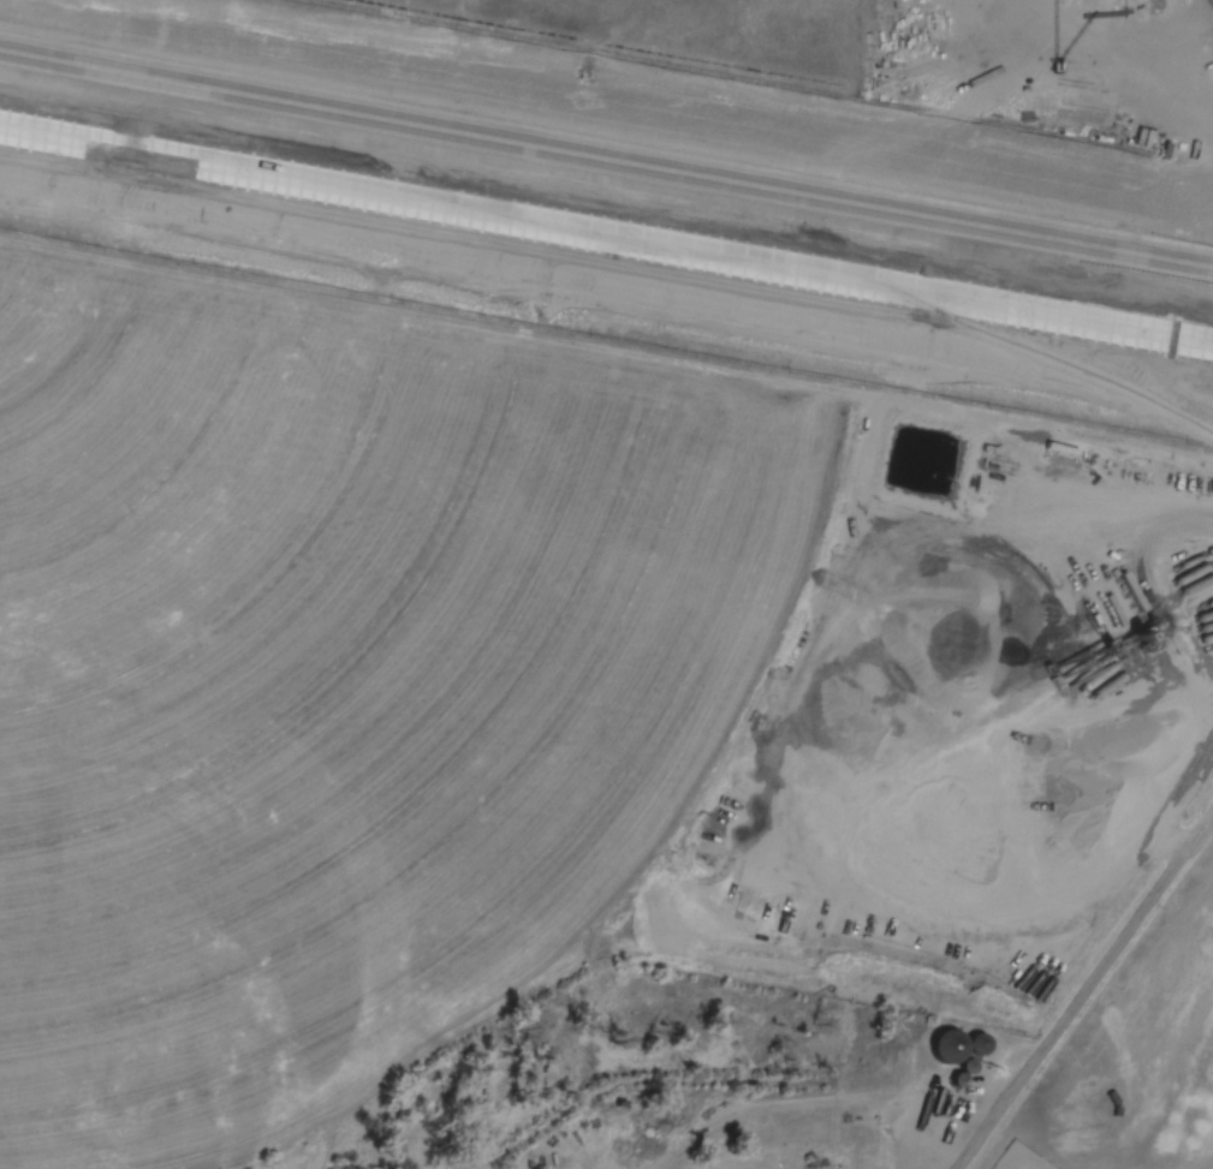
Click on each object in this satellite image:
road: (606, 159)
road: (606, 232)
crop: (530, 699)
road: (1088, 994)
crop: (1141, 1057)

